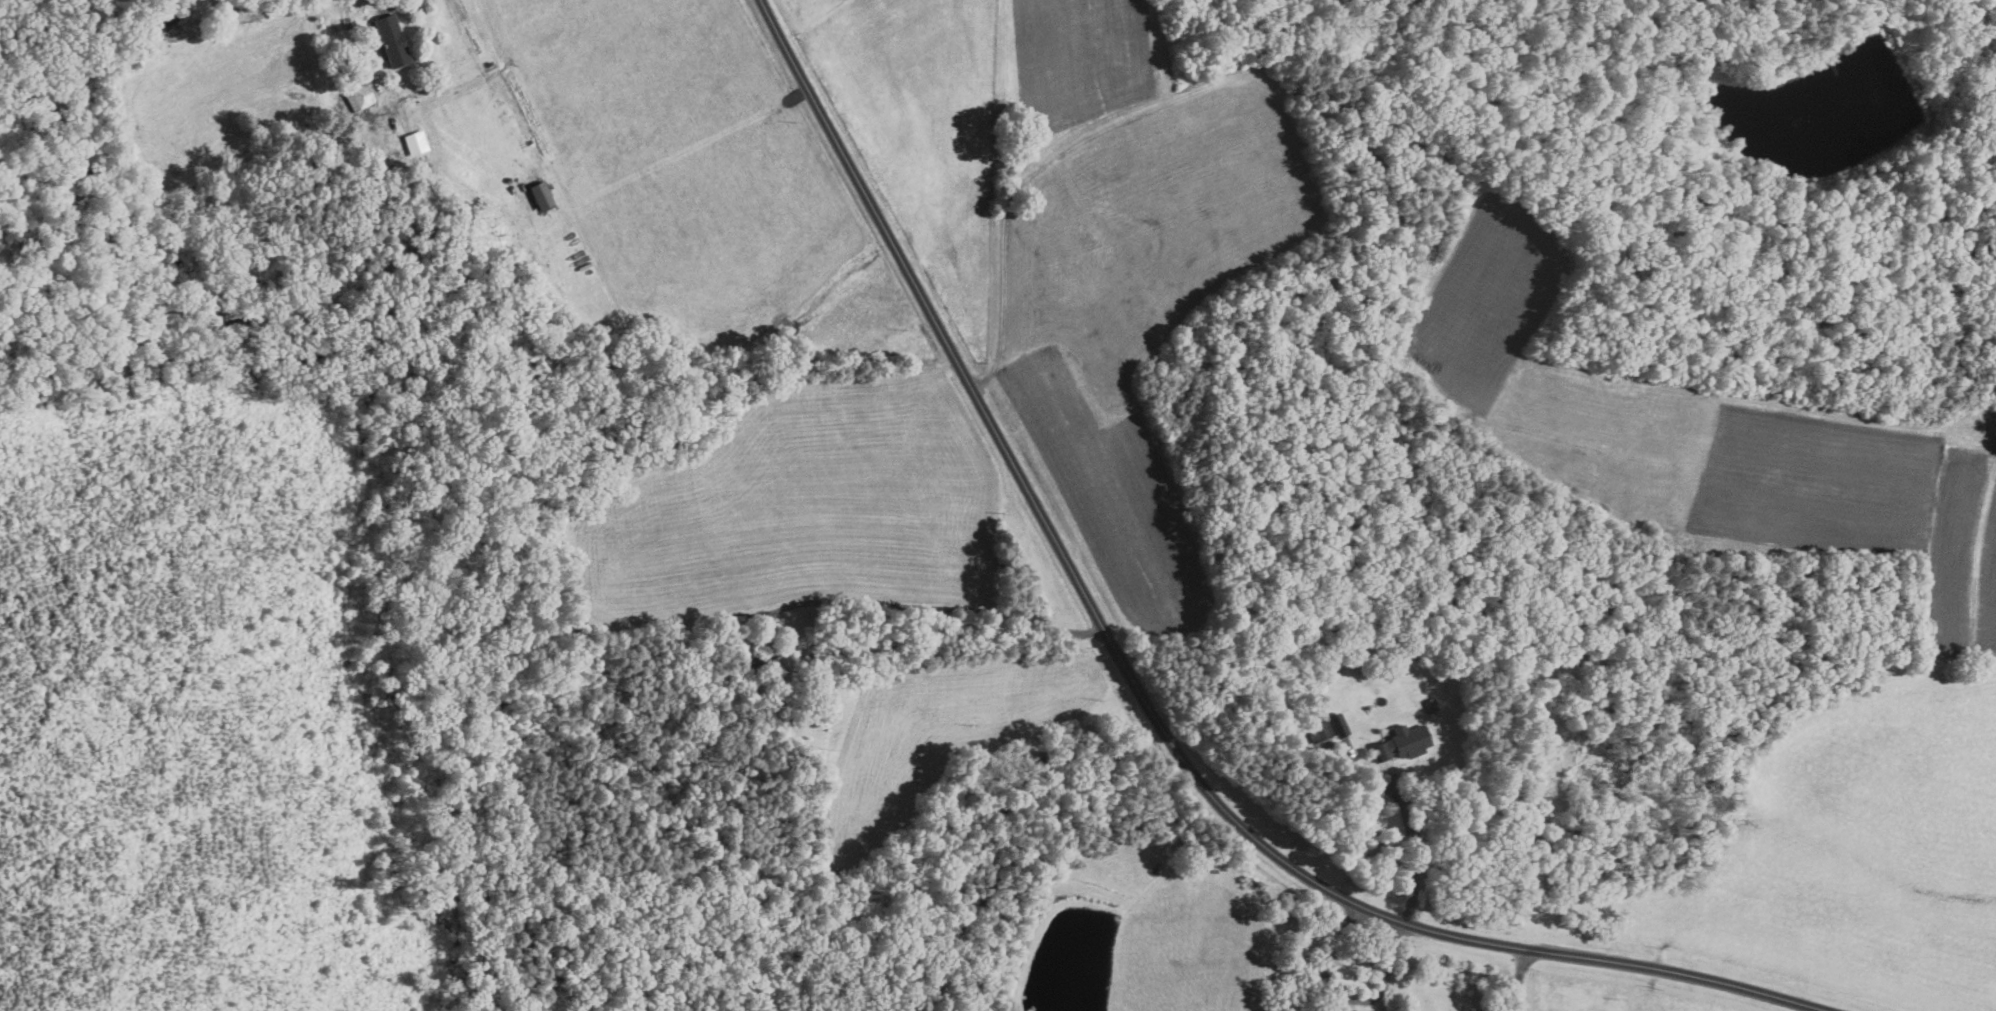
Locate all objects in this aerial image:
building: (390, 40)
road: (925, 607)
road: (1139, 692)
building: (1337, 723)
building: (1318, 730)
building: (1402, 742)
road: (1364, 774)
road: (1415, 851)
road: (1520, 980)
road: (1294, 986)
road: (1346, 997)

